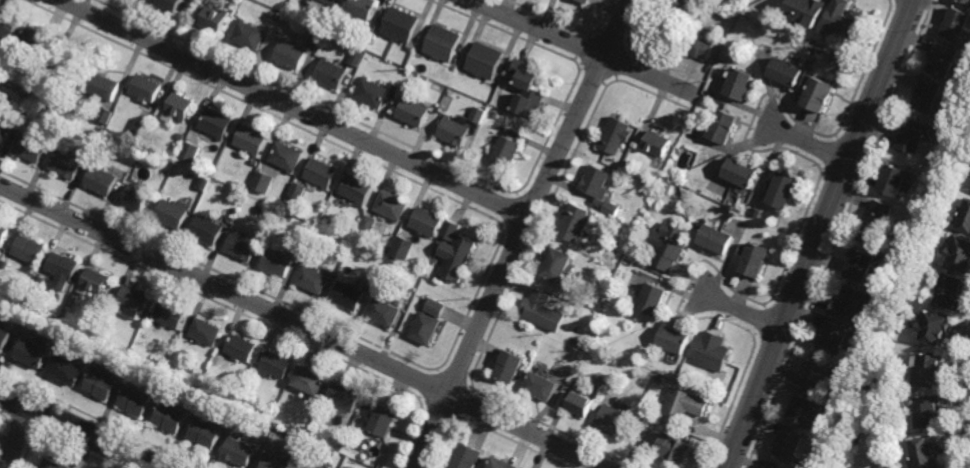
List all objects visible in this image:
building: (967, 0)
building: (334, 1)
building: (586, 1)
building: (696, 1)
building: (169, 4)
building: (363, 7)
building: (806, 11)
building: (677, 14)
building: (215, 18)
building: (846, 18)
building: (275, 19)
building: (956, 23)
building: (9, 24)
building: (404, 24)
building: (251, 35)
building: (317, 39)
building: (40, 40)
building: (444, 43)
building: (698, 46)
road: (585, 47)
building: (292, 54)
building: (359, 57)
building: (944, 59)
building: (485, 60)
building: (69, 70)
building: (788, 71)
building: (333, 73)
building: (741, 84)
building: (30, 85)
building: (105, 86)
building: (146, 88)
building: (528, 88)
building: (375, 93)
building: (820, 95)
building: (929, 96)
building: (180, 106)
road: (294, 108)
building: (416, 111)
building: (105, 115)
building: (479, 115)
building: (217, 124)
building: (140, 127)
building: (724, 127)
building: (455, 131)
building: (4, 133)
building: (616, 135)
building: (914, 136)
building: (253, 140)
building: (658, 142)
road: (809, 142)
building: (32, 148)
building: (506, 151)
building: (190, 152)
building: (287, 157)
building: (255, 162)
building: (67, 163)
building: (948, 164)
building: (629, 167)
building: (323, 173)
building: (741, 174)
building: (102, 180)
building: (895, 181)
building: (263, 182)
building: (597, 182)
building: (358, 189)
building: (667, 189)
building: (299, 191)
building: (784, 191)
building: (138, 197)
building: (393, 206)
building: (613, 209)
building: (757, 212)
building: (174, 213)
building: (965, 218)
building: (429, 222)
building: (575, 223)
building: (369, 224)
building: (876, 224)
building: (923, 229)
building: (209, 230)
building: (452, 230)
building: (3, 233)
road: (521, 233)
road: (820, 234)
building: (718, 240)
building: (347, 243)
building: (243, 246)
building: (669, 246)
building: (404, 248)
building: (29, 249)
building: (960, 255)
building: (460, 259)
building: (757, 262)
building: (279, 263)
building: (63, 266)
building: (559, 266)
building: (860, 267)
building: (38, 279)
building: (313, 280)
building: (96, 281)
building: (951, 293)
building: (349, 296)
building: (654, 300)
building: (134, 301)
building: (851, 305)
building: (437, 308)
road: (742, 310)
building: (544, 312)
building: (386, 313)
building: (170, 316)
building: (105, 322)
road: (304, 326)
building: (426, 329)
building: (934, 329)
building: (205, 332)
building: (883, 335)
building: (4, 339)
building: (832, 340)
building: (675, 341)
building: (581, 344)
building: (240, 348)
building: (713, 352)
building: (33, 354)
building: (274, 365)
building: (509, 368)
building: (68, 370)
building: (929, 373)
building: (817, 374)
building: (310, 379)
building: (101, 380)
building: (541, 386)
building: (229, 387)
building: (345, 395)
building: (242, 396)
building: (136, 399)
building: (581, 400)
building: (684, 403)
building: (929, 406)
building: (801, 407)
building: (847, 410)
building: (171, 414)
building: (615, 416)
building: (384, 417)
building: (253, 419)
building: (344, 428)
road: (81, 430)
building: (206, 431)
building: (856, 434)
road: (19, 438)
building: (788, 442)
building: (318, 445)
building: (674, 445)
building: (927, 448)
building: (241, 449)
building: (469, 454)
building: (278, 461)
building: (503, 462)
building: (53, 464)
building: (774, 465)
building: (307, 467)
building: (835, 467)

